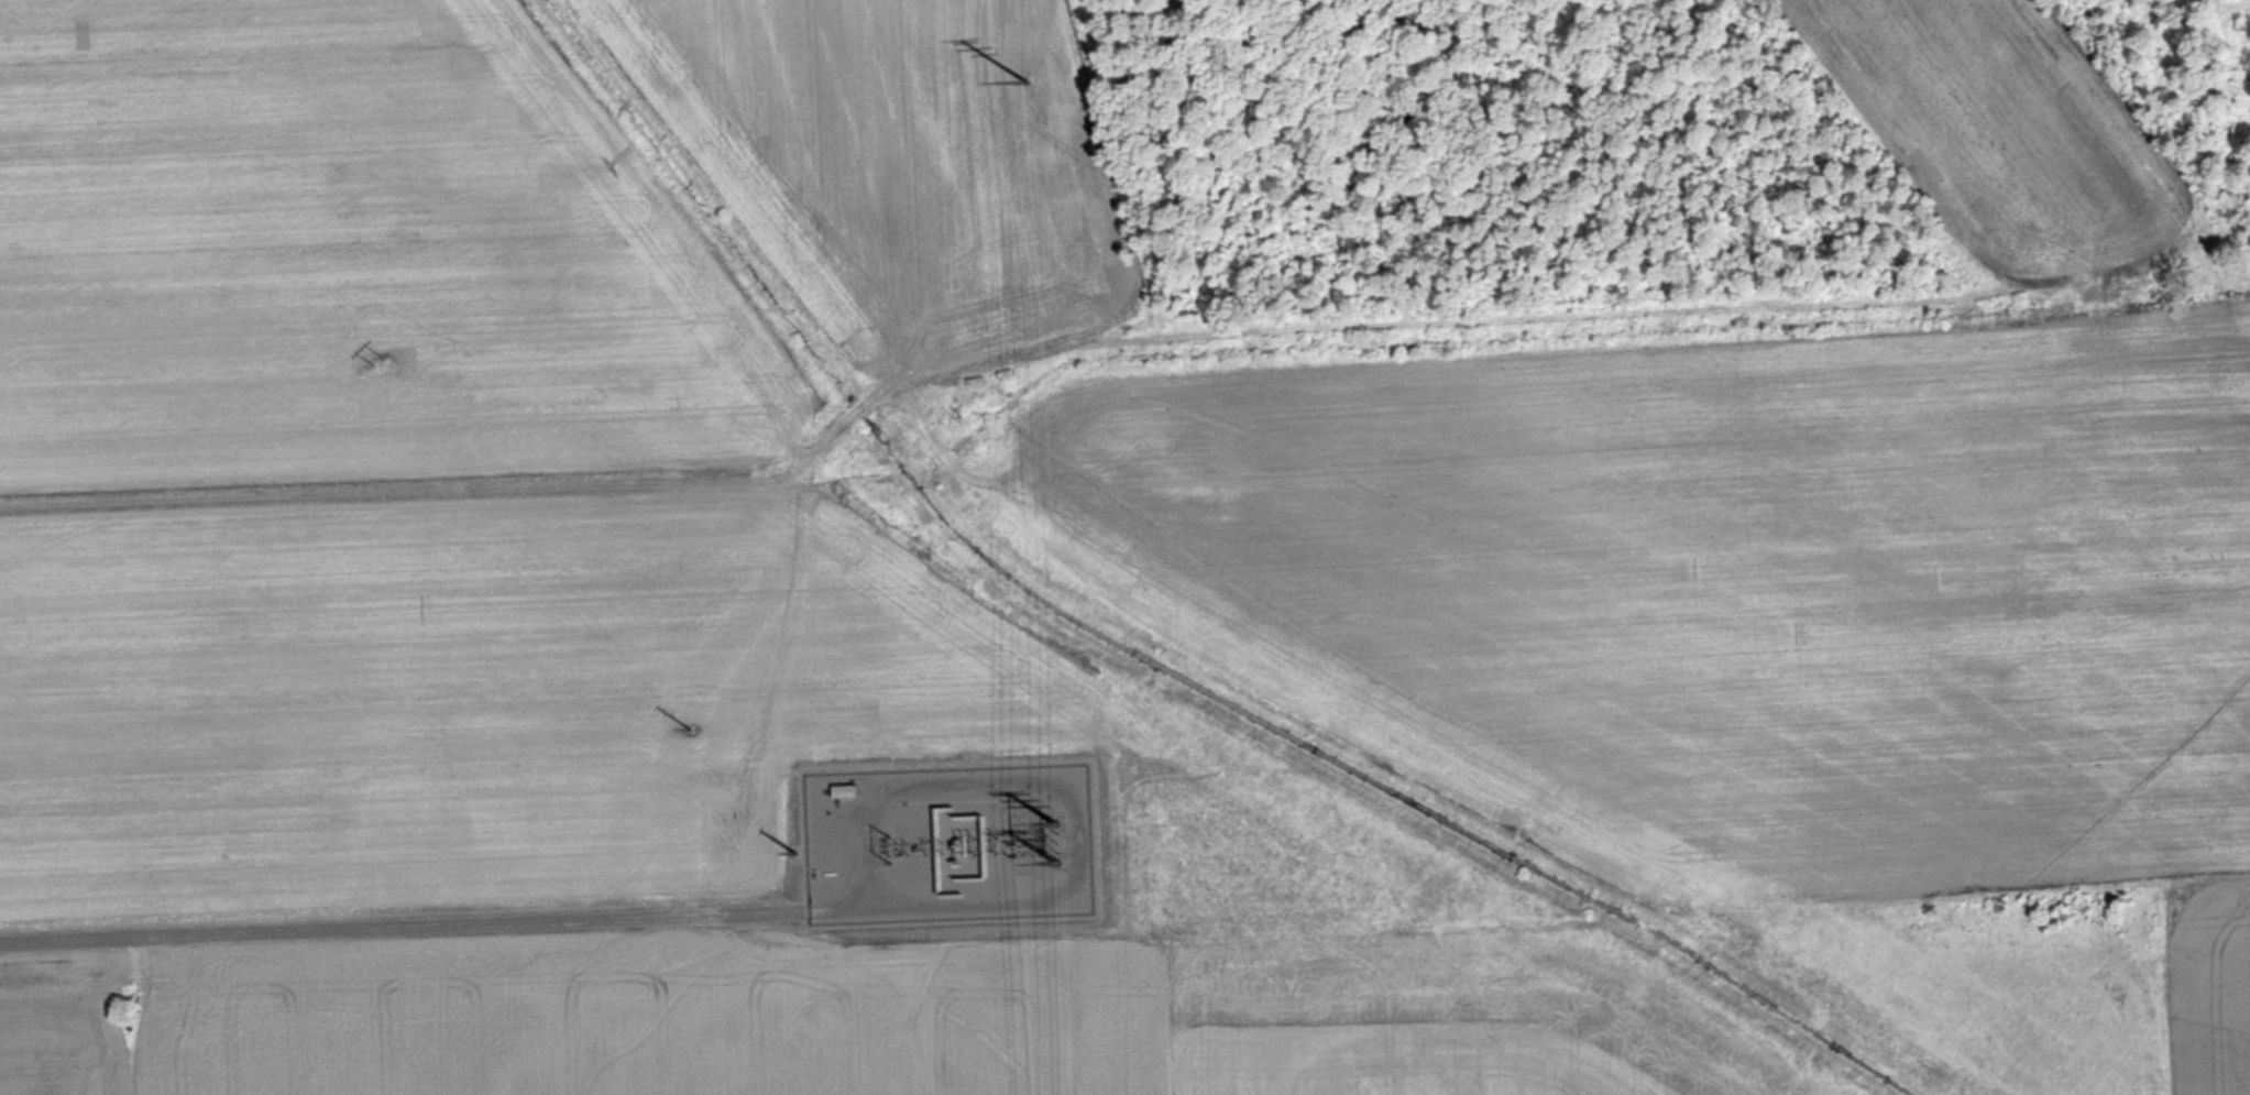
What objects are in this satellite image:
power tower: (1027, 77)
power tower: (377, 361)
building: (1014, 385)
power tower: (692, 727)
power tower: (1054, 819)
power substation: (946, 839)
power tower: (793, 846)
power tower: (1057, 858)
road: (403, 921)

